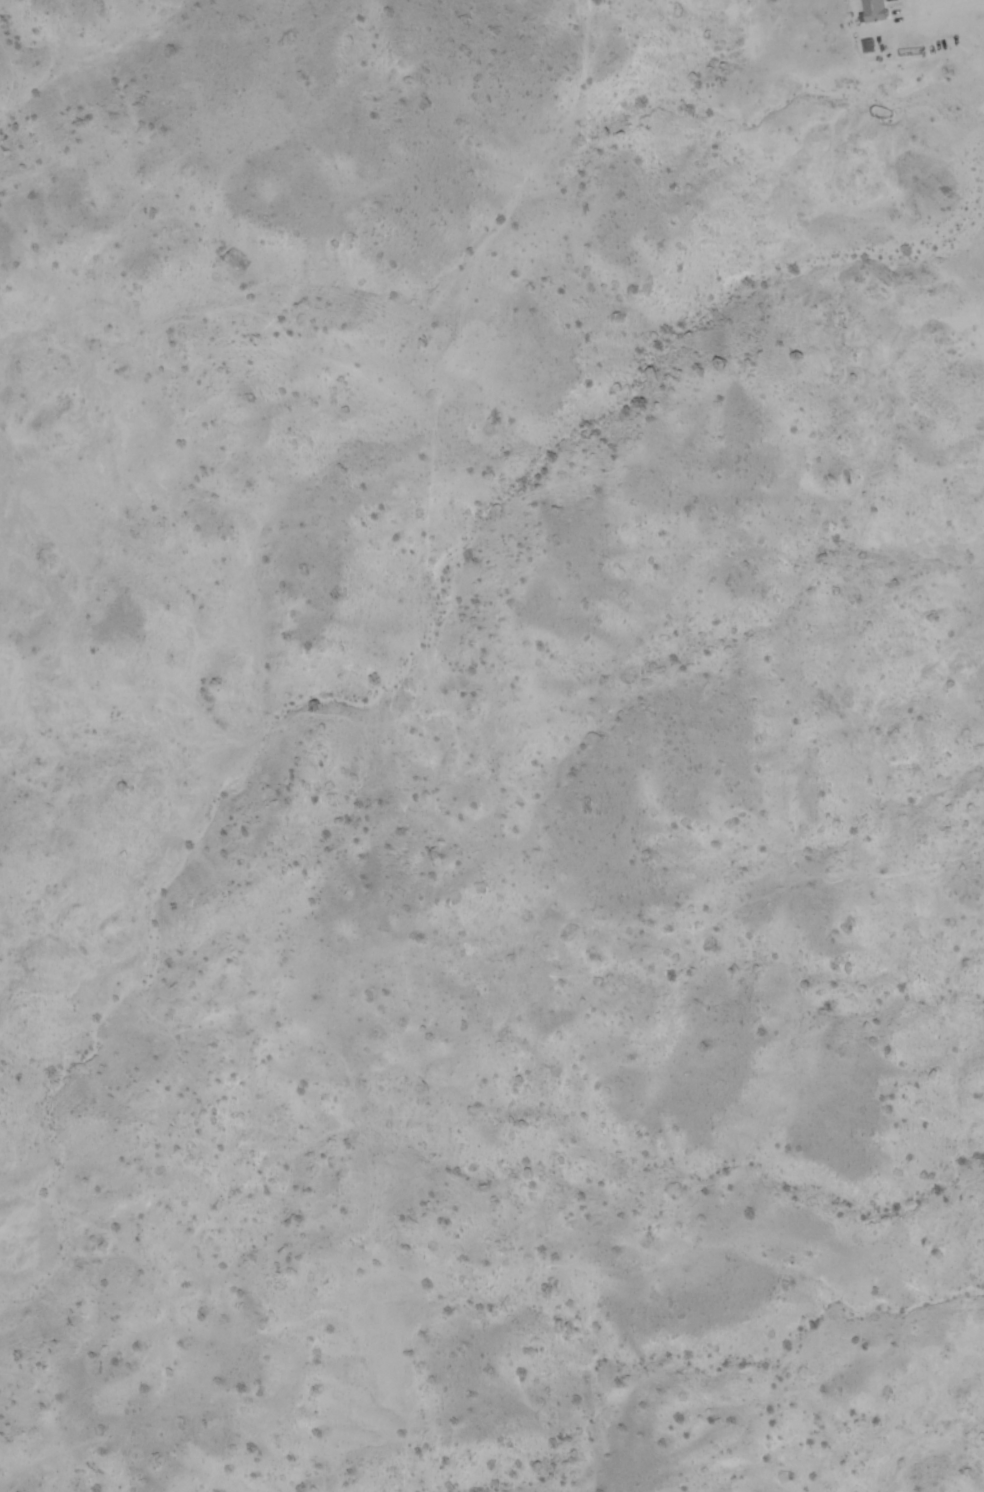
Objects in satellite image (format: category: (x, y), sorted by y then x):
building: (874, 10)

